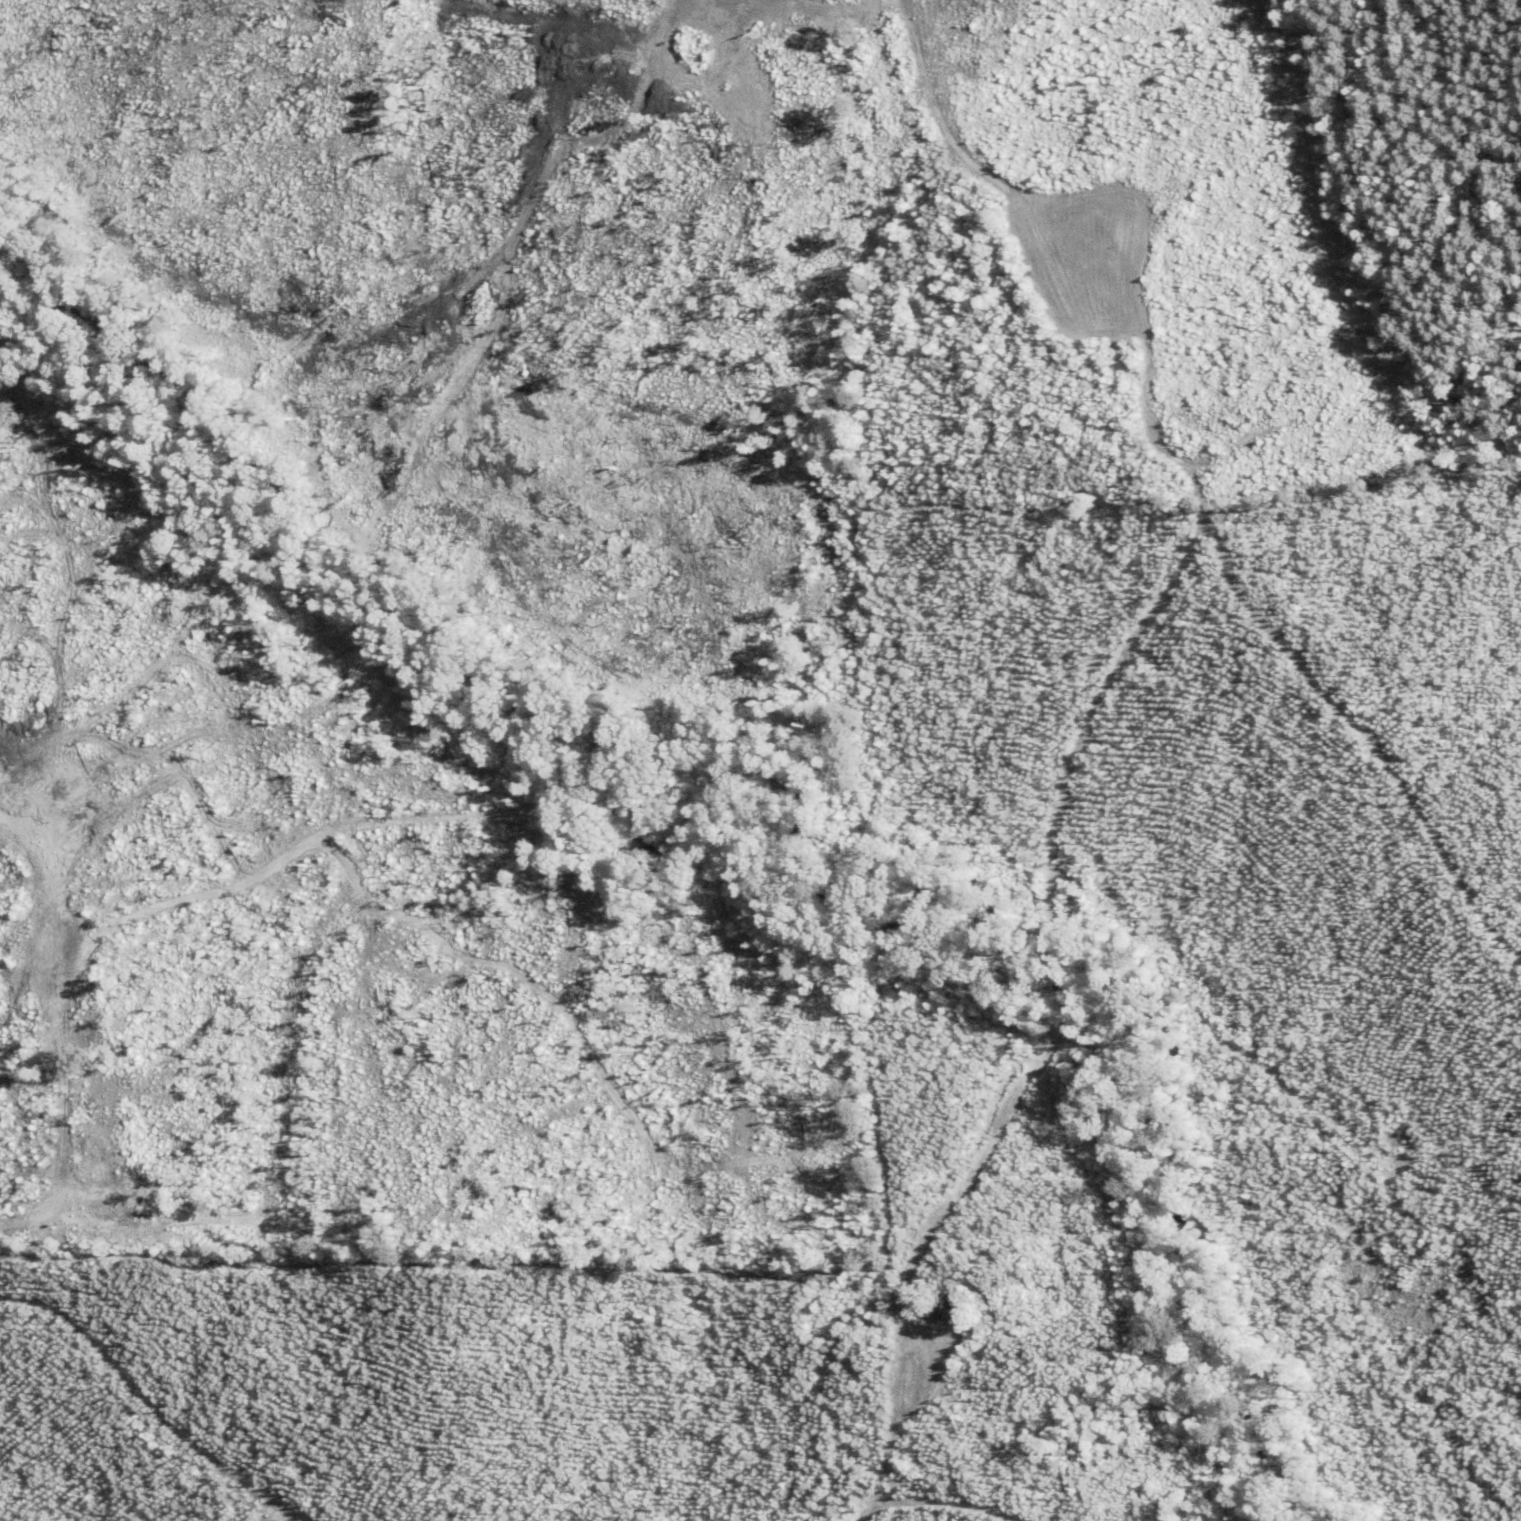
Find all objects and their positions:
road: (78, 1480)
road: (916, 1504)

